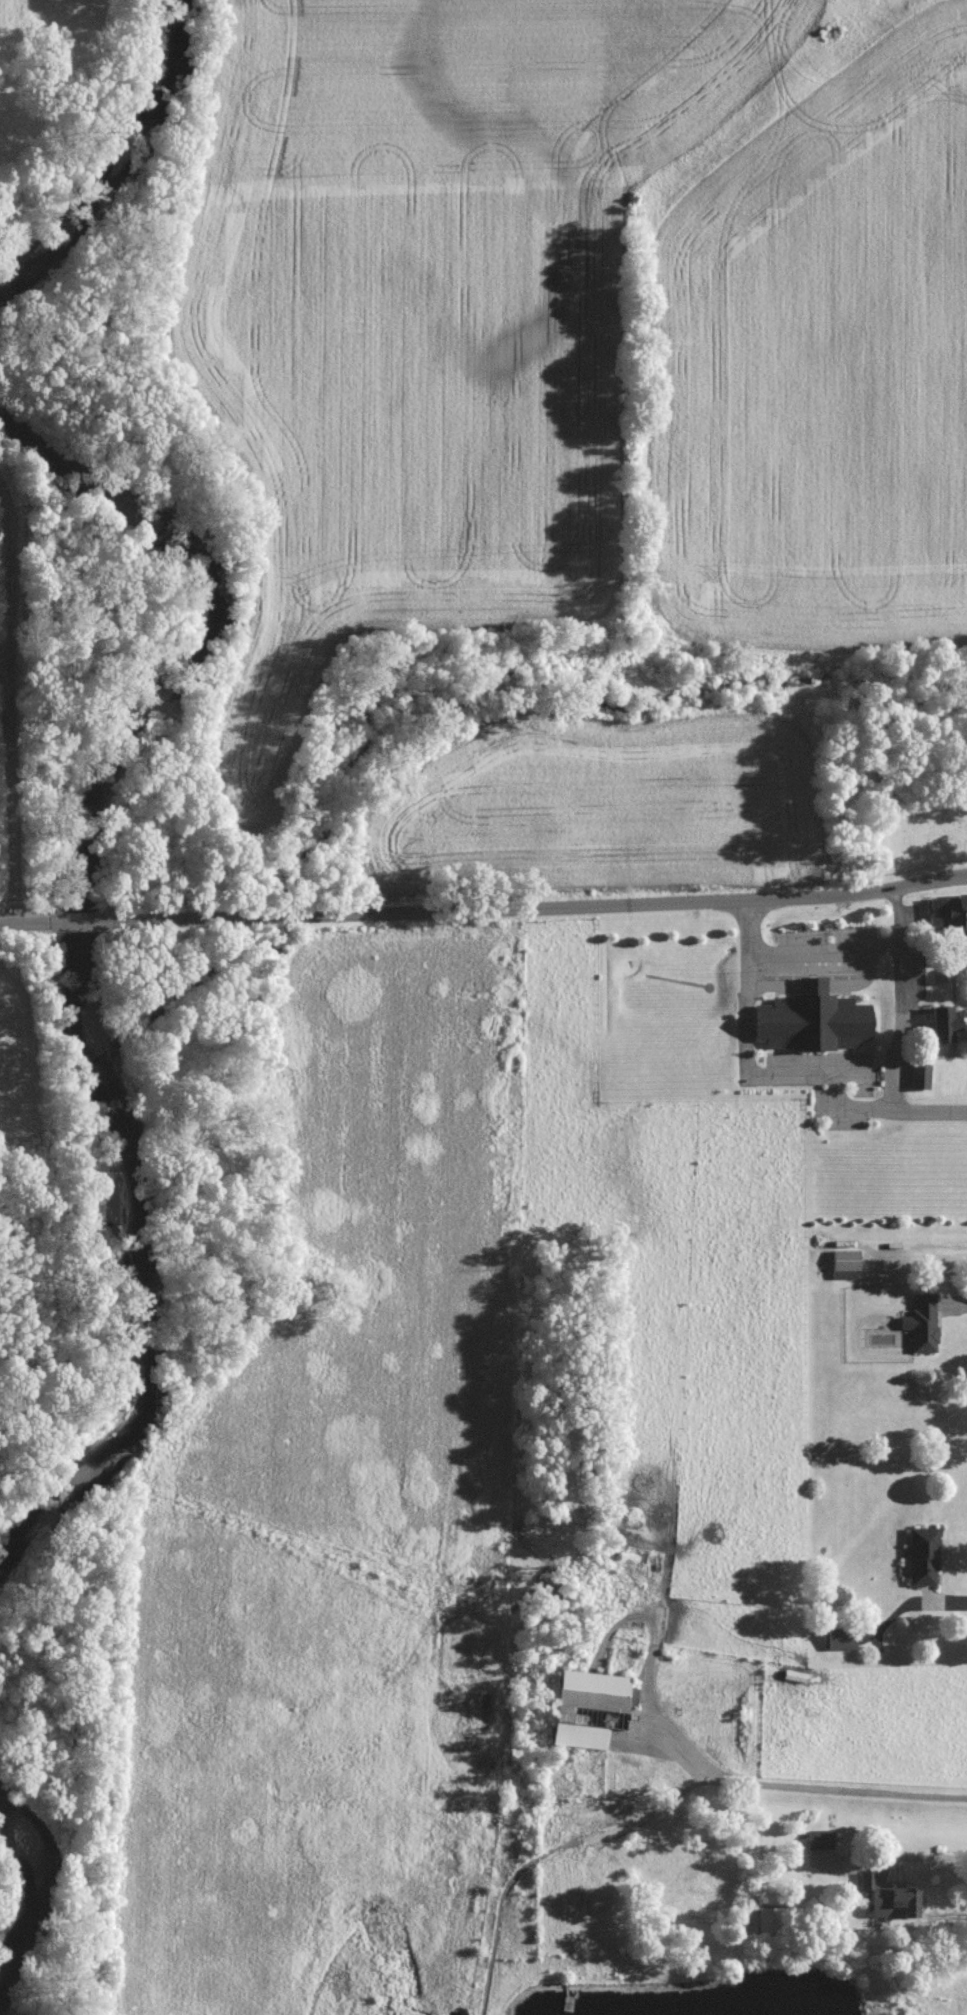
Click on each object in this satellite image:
river: (109, 152)
road: (10, 706)
road: (551, 906)
building: (949, 912)
road: (90, 921)
road: (23, 923)
river: (82, 943)
road: (852, 949)
building: (812, 1019)
building: (944, 1023)
road: (900, 1027)
road: (783, 1074)
building: (920, 1076)
building: (845, 1263)
road: (952, 1304)
building: (924, 1323)
building: (923, 1556)
road: (945, 1602)
building: (842, 1639)
building: (594, 1692)
building: (579, 1735)
road: (802, 1790)
building: (820, 1839)
road: (547, 1852)
road: (914, 1860)
river: (33, 1885)
building: (888, 1897)
building: (769, 1920)

